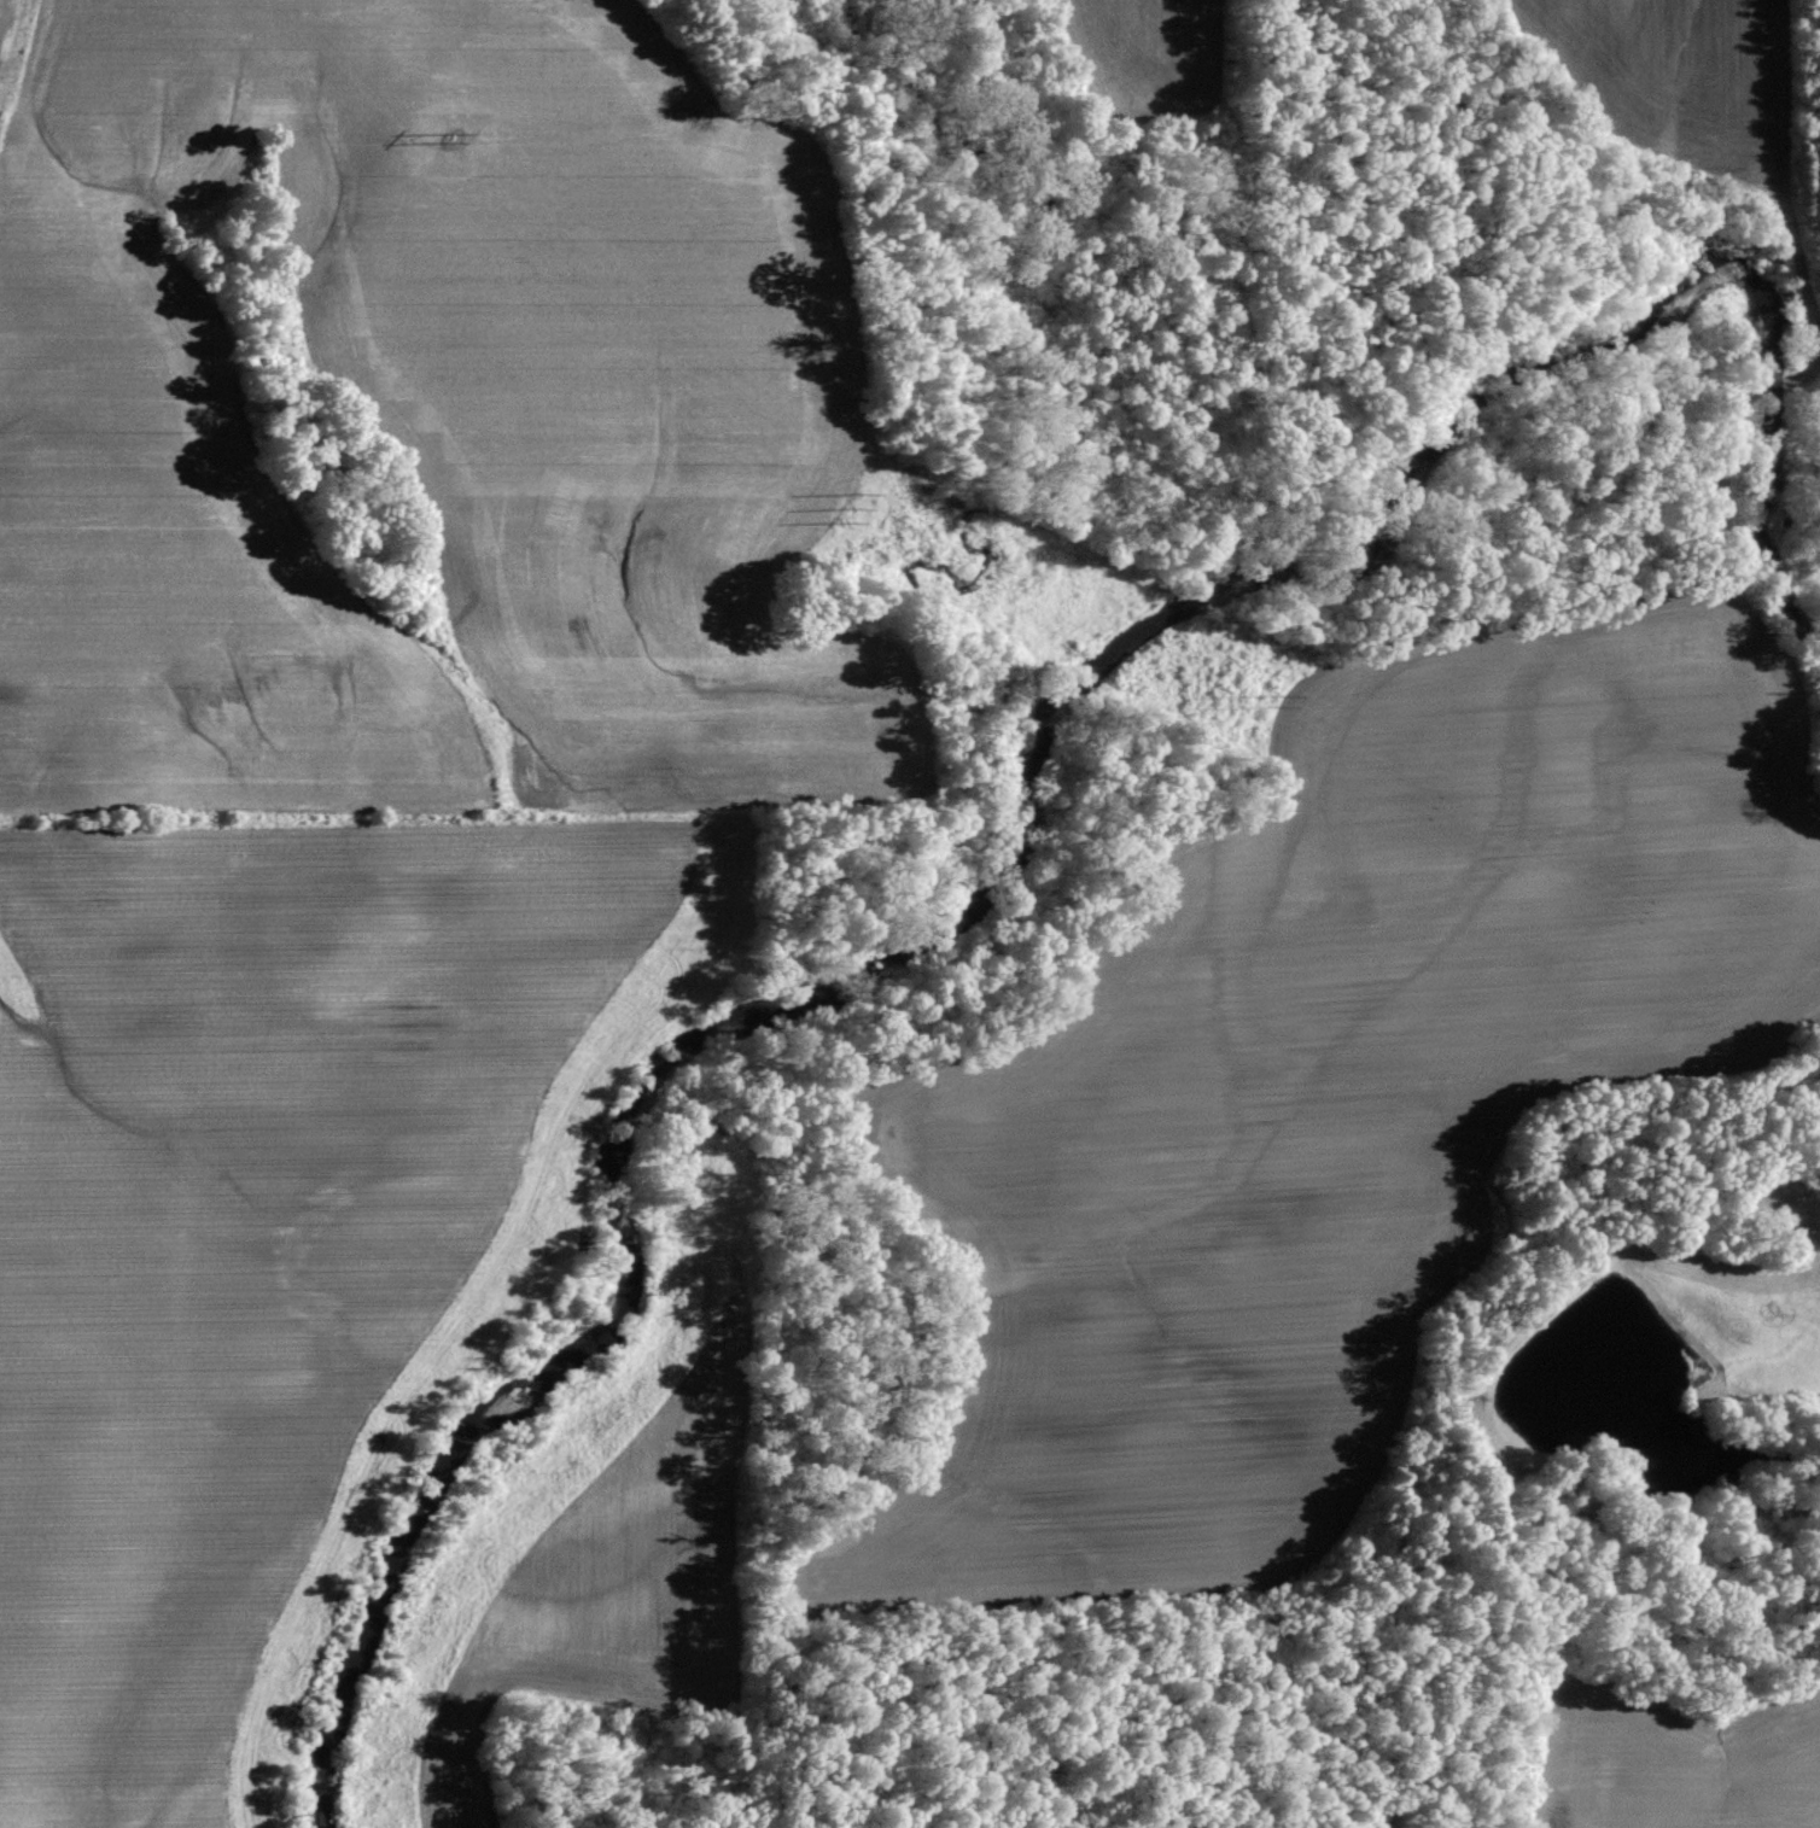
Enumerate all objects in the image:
power tower: (459, 134)
power tower: (864, 513)
power tower: (1285, 702)

